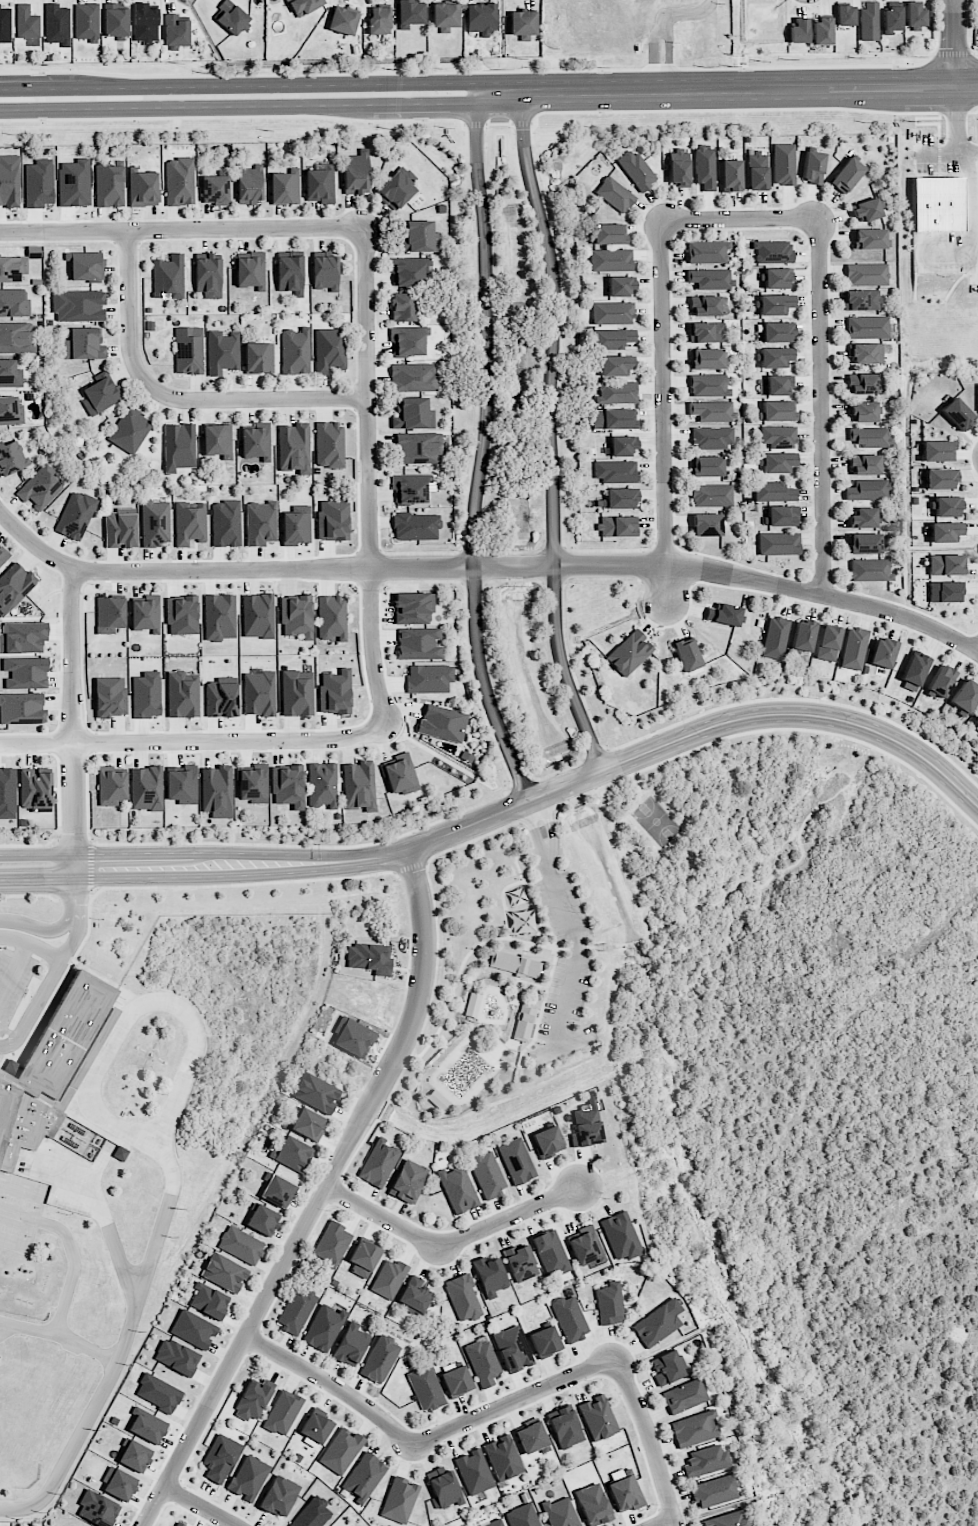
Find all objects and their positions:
building: (303, 6)
building: (410, 13)
building: (915, 14)
building: (845, 15)
building: (445, 16)
building: (230, 17)
building: (481, 18)
building: (892, 18)
building: (115, 19)
building: (379, 20)
building: (86, 21)
building: (342, 21)
building: (869, 21)
building: (27, 22)
building: (144, 23)
building: (523, 23)
building: (57, 24)
building: (5, 25)
road: (661, 27)
building: (175, 30)
building: (799, 30)
building: (822, 30)
road: (969, 30)
road: (953, 43)
road: (954, 54)
road: (496, 71)
road: (60, 76)
road: (242, 85)
road: (749, 88)
road: (502, 93)
road: (242, 105)
road: (479, 108)
road: (391, 115)
road: (232, 116)
road: (499, 123)
road: (521, 123)
road: (916, 123)
road: (475, 124)
road: (970, 152)
parking lot: (933, 155)
building: (783, 163)
building: (813, 166)
building: (679, 167)
building: (705, 167)
building: (636, 169)
building: (757, 171)
building: (356, 173)
building: (731, 175)
building: (846, 175)
building: (9, 180)
building: (179, 181)
building: (250, 184)
building: (320, 184)
building: (109, 186)
building: (285, 186)
building: (143, 189)
building: (215, 189)
building: (396, 190)
road: (973, 191)
building: (615, 194)
building: (937, 204)
road: (358, 208)
building: (866, 209)
road: (739, 217)
road: (183, 228)
building: (609, 233)
building: (419, 237)
building: (869, 238)
building: (707, 251)
building: (772, 251)
parking lot: (940, 252)
building: (611, 260)
building: (86, 266)
building: (12, 268)
building: (249, 270)
building: (406, 271)
building: (290, 272)
building: (325, 272)
building: (867, 274)
building: (208, 276)
building: (168, 277)
building: (710, 278)
building: (776, 278)
building: (620, 286)
building: (861, 299)
building: (13, 302)
building: (775, 303)
building: (78, 305)
building: (705, 305)
building: (405, 307)
building: (613, 312)
building: (867, 327)
building: (777, 331)
building: (706, 332)
road: (477, 337)
building: (15, 338)
building: (612, 338)
building: (407, 341)
building: (84, 344)
building: (329, 349)
building: (188, 350)
building: (223, 351)
building: (295, 351)
building: (866, 353)
building: (258, 357)
building: (775, 357)
building: (706, 358)
road: (144, 364)
building: (616, 365)
building: (10, 374)
building: (412, 376)
building: (862, 383)
building: (778, 384)
building: (709, 385)
building: (617, 392)
building: (100, 396)
road: (175, 397)
road: (820, 406)
building: (778, 410)
building: (10, 411)
road: (663, 411)
building: (712, 411)
building: (863, 411)
building: (957, 413)
building: (413, 414)
building: (619, 418)
road: (357, 425)
building: (129, 430)
road: (550, 433)
building: (778, 436)
building: (871, 436)
building: (712, 437)
building: (217, 439)
building: (256, 441)
building: (329, 444)
building: (623, 445)
building: (178, 446)
building: (294, 447)
building: (417, 448)
building: (937, 450)
building: (11, 457)
road: (970, 458)
building: (778, 462)
building: (865, 464)
road: (481, 466)
building: (706, 466)
building: (615, 471)
building: (940, 478)
road: (368, 482)
building: (39, 487)
building: (409, 488)
building: (867, 490)
building: (773, 491)
building: (712, 495)
building: (618, 498)
road: (654, 498)
building: (946, 506)
building: (75, 515)
building: (782, 515)
building: (863, 517)
building: (333, 518)
building: (190, 522)
building: (155, 523)
building: (225, 523)
building: (260, 523)
building: (706, 524)
building: (296, 525)
building: (415, 526)
building: (618, 526)
building: (120, 528)
building: (945, 531)
building: (779, 543)
building: (864, 543)
road: (552, 547)
road: (473, 550)
road: (512, 552)
road: (420, 553)
building: (2, 557)
building: (946, 564)
road: (228, 568)
building: (870, 569)
road: (732, 574)
road: (514, 580)
road: (473, 583)
road: (554, 583)
building: (13, 586)
road: (464, 587)
building: (946, 591)
building: (413, 608)
building: (145, 613)
building: (109, 614)
building: (182, 614)
building: (723, 614)
building: (257, 615)
building: (219, 616)
building: (296, 616)
building: (331, 617)
road: (563, 622)
building: (803, 635)
building: (22, 637)
building: (775, 637)
road: (60, 641)
building: (419, 643)
building: (828, 643)
building: (853, 648)
building: (629, 652)
building: (882, 652)
building: (686, 653)
building: (914, 671)
building: (26, 672)
building: (429, 678)
building: (941, 680)
building: (259, 692)
building: (297, 692)
building: (335, 692)
building: (146, 694)
building: (182, 694)
building: (110, 696)
building: (965, 696)
building: (221, 697)
building: (21, 708)
road: (71, 709)
road: (365, 719)
building: (976, 720)
building: (442, 722)
road: (775, 729)
road: (192, 739)
road: (673, 741)
road: (595, 754)
road: (562, 769)
building: (400, 774)
road: (59, 779)
building: (253, 783)
building: (181, 784)
building: (322, 784)
road: (521, 784)
building: (288, 785)
building: (359, 785)
building: (111, 786)
building: (35, 787)
building: (146, 788)
building: (217, 791)
road: (536, 813)
park: (656, 821)
road: (551, 830)
road: (485, 834)
road: (535, 834)
road: (624, 837)
road: (70, 840)
road: (26, 845)
road: (179, 852)
road: (74, 866)
road: (410, 867)
road: (90, 868)
road: (180, 877)
road: (532, 880)
road: (243, 883)
road: (527, 892)
road: (31, 894)
road: (75, 896)
road: (75, 899)
road: (504, 902)
road: (648, 905)
road: (537, 935)
road: (32, 944)
road: (526, 948)
road: (577, 948)
road: (68, 949)
parking lot: (577, 953)
road: (577, 956)
building: (369, 958)
road: (464, 960)
building: (515, 964)
road: (13, 970)
road: (95, 973)
road: (98, 977)
parking lot: (14, 979)
road: (55, 988)
road: (966, 997)
building: (472, 1004)
road: (136, 1007)
building: (524, 1022)
road: (421, 1029)
building: (353, 1037)
road: (538, 1040)
road: (562, 1046)
road: (522, 1051)
building: (49, 1066)
building: (316, 1093)
building: (438, 1100)
building: (587, 1123)
building: (307, 1124)
building: (548, 1141)
building: (120, 1153)
building: (292, 1153)
building: (517, 1160)
building: (378, 1163)
road: (100, 1166)
building: (487, 1173)
building: (407, 1181)
building: (458, 1189)
road: (913, 1189)
building: (278, 1191)
road: (320, 1196)
park: (20, 1201)
road: (104, 1215)
building: (262, 1219)
park: (14, 1231)
building: (621, 1235)
road: (450, 1241)
building: (331, 1244)
building: (241, 1245)
building: (585, 1246)
building: (550, 1253)
building: (363, 1258)
building: (520, 1262)
road: (73, 1269)
building: (224, 1272)
building: (490, 1276)
building: (389, 1278)
building: (414, 1295)
building: (463, 1297)
building: (209, 1300)
building: (609, 1303)
building: (296, 1311)
road: (245, 1312)
building: (569, 1318)
building: (657, 1323)
building: (323, 1327)
building: (193, 1328)
road: (60, 1335)
building: (544, 1341)
road: (912, 1342)
road: (124, 1344)
building: (350, 1344)
building: (512, 1348)
building: (176, 1356)
building: (379, 1358)
building: (482, 1361)
road: (952, 1365)
building: (666, 1368)
building: (456, 1380)
road: (332, 1383)
building: (426, 1388)
building: (158, 1392)
building: (684, 1396)
building: (251, 1401)
road: (513, 1401)
building: (282, 1412)
building: (597, 1417)
building: (147, 1425)
building: (564, 1426)
building: (314, 1427)
building: (695, 1428)
building: (531, 1437)
road: (651, 1439)
building: (341, 1450)
building: (134, 1455)
building: (220, 1457)
building: (503, 1457)
building: (705, 1460)
building: (474, 1471)
building: (248, 1477)
building: (364, 1477)
building: (118, 1483)
building: (444, 1488)
building: (714, 1490)
building: (625, 1491)
building: (279, 1496)
building: (399, 1499)
building: (593, 1504)
road: (199, 1507)
building: (97, 1508)
building: (560, 1512)
building: (312, 1513)
building: (522, 1516)
building: (727, 1519)
road: (661, 1521)
building: (494, 1523)
building: (177, 1524)

